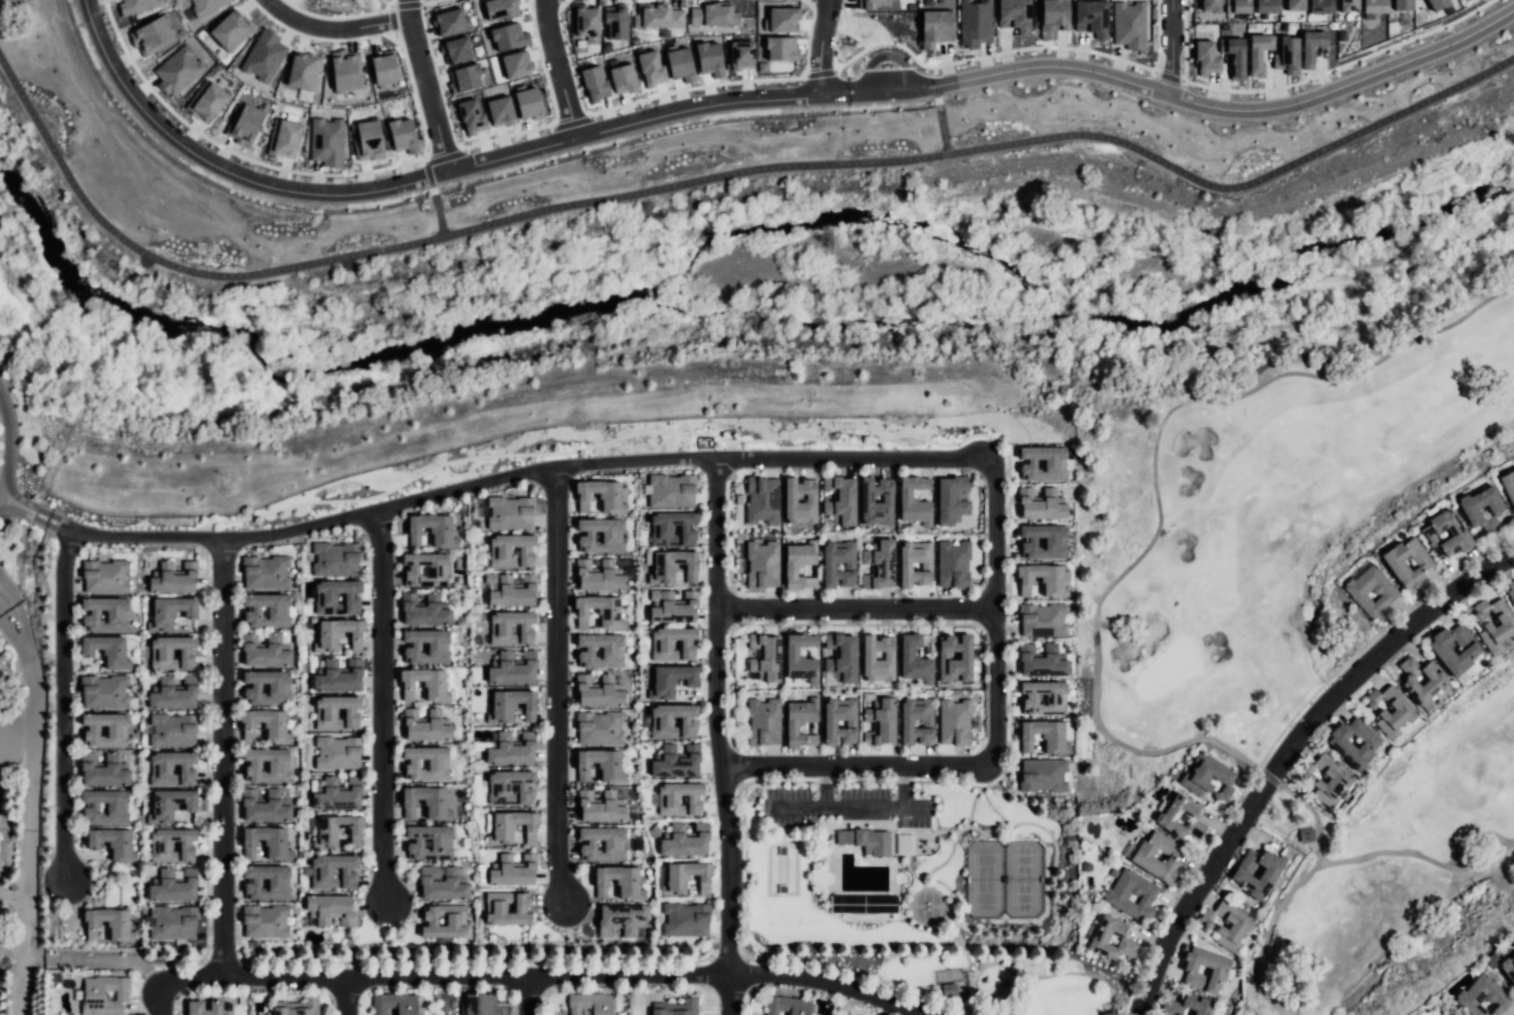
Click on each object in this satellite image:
road: (428, 2)
building: (871, 3)
building: (1436, 4)
building: (135, 5)
building: (206, 5)
road: (403, 5)
building: (1210, 5)
building: (1348, 5)
building: (1401, 5)
building: (1237, 6)
building: (1267, 6)
building: (1320, 6)
building: (1373, 6)
building: (499, 9)
building: (712, 15)
building: (1014, 15)
building: (658, 16)
building: (1052, 17)
building: (1090, 17)
building: (782, 19)
road: (391, 21)
building: (586, 21)
building: (615, 21)
building: (448, 22)
building: (974, 22)
building: (1128, 24)
building: (935, 27)
road: (332, 28)
building: (229, 30)
road: (1157, 35)
building: (151, 36)
building: (508, 37)
road: (1183, 40)
building: (1311, 46)
road: (821, 47)
road: (1171, 47)
building: (780, 48)
road: (1023, 48)
building: (455, 50)
road: (862, 52)
building: (1257, 52)
building: (263, 55)
building: (740, 55)
building: (1234, 55)
building: (1286, 55)
road: (886, 56)
building: (1205, 57)
building: (709, 58)
road: (567, 60)
building: (514, 64)
road: (542, 64)
building: (761, 66)
road: (1339, 66)
building: (383, 68)
road: (557, 68)
building: (650, 68)
building: (177, 70)
building: (344, 70)
road: (934, 70)
building: (300, 71)
road: (818, 72)
road: (1167, 76)
building: (621, 77)
building: (463, 78)
road: (436, 80)
building: (594, 84)
road: (426, 85)
road: (934, 86)
road: (891, 89)
road: (414, 98)
building: (206, 101)
building: (527, 103)
road: (1230, 108)
building: (499, 111)
building: (471, 117)
road: (570, 122)
building: (243, 123)
road: (940, 125)
building: (401, 135)
road: (506, 135)
building: (283, 138)
building: (366, 140)
building: (326, 141)
road: (444, 157)
road: (428, 174)
road: (720, 174)
road: (424, 176)
road: (437, 210)
road: (10, 446)
building: (1040, 463)
park: (1277, 467)
road: (492, 481)
building: (1509, 486)
building: (665, 488)
building: (601, 493)
building: (951, 498)
building: (761, 499)
building: (839, 499)
building: (799, 500)
building: (876, 500)
building: (913, 500)
building: (1039, 504)
building: (1497, 510)
building: (507, 511)
building: (670, 527)
building: (432, 529)
building: (600, 532)
building: (1457, 539)
building: (1041, 541)
building: (528, 555)
building: (332, 557)
building: (917, 561)
building: (1408, 561)
building: (840, 562)
building: (953, 564)
building: (757, 565)
building: (881, 565)
building: (802, 566)
building: (439, 570)
building: (267, 571)
building: (659, 572)
building: (107, 575)
building: (598, 578)
building: (176, 581)
building: (1051, 582)
building: (1387, 591)
building: (1511, 592)
building: (514, 594)
building: (326, 597)
road: (857, 603)
building: (672, 606)
building: (599, 608)
building: (267, 610)
building: (172, 612)
building: (105, 614)
road: (999, 614)
building: (426, 615)
road: (21, 618)
building: (1041, 620)
road: (1095, 621)
building: (1495, 624)
building: (499, 630)
building: (669, 640)
road: (16, 641)
building: (327, 642)
building: (438, 645)
building: (599, 646)
building: (107, 650)
building: (790, 651)
building: (1444, 651)
building: (161, 654)
building: (764, 656)
building: (265, 657)
building: (841, 657)
building: (954, 657)
building: (876, 658)
building: (913, 659)
building: (1040, 661)
building: (514, 673)
building: (341, 680)
building: (1423, 682)
building: (426, 685)
building: (657, 686)
building: (279, 688)
road: (558, 689)
building: (105, 692)
building: (601, 694)
building: (175, 698)
road: (32, 707)
building: (1392, 711)
road: (67, 712)
road: (387, 712)
building: (502, 712)
building: (326, 716)
building: (840, 721)
building: (905, 722)
building: (953, 722)
building: (659, 723)
building: (764, 724)
building: (882, 724)
parking lot: (943, 724)
building: (265, 727)
building: (604, 727)
building: (169, 728)
building: (794, 728)
road: (16, 729)
building: (118, 729)
building: (425, 729)
building: (1043, 736)
road: (720, 739)
parking lot: (1, 742)
building: (1356, 744)
building: (511, 749)
building: (335, 750)
road: (1286, 750)
road: (16, 753)
road: (227, 756)
building: (675, 759)
building: (437, 762)
building: (603, 764)
building: (268, 766)
road: (860, 769)
building: (161, 772)
building: (1042, 774)
building: (106, 775)
building: (1326, 779)
building: (1192, 783)
building: (497, 792)
building: (676, 795)
building: (338, 800)
building: (426, 800)
building: (605, 804)
building: (172, 805)
road: (862, 806)
building: (118, 807)
parking lot: (846, 808)
building: (266, 812)
building: (1169, 820)
building: (511, 825)
building: (327, 837)
building: (677, 838)
building: (269, 842)
building: (441, 842)
building: (620, 842)
building: (113, 843)
building: (865, 843)
building: (161, 846)
building: (1145, 859)
park: (1389, 865)
building: (516, 871)
building: (1270, 875)
building: (322, 877)
building: (619, 880)
park: (1004, 880)
road: (25, 881)
building: (279, 884)
building: (669, 884)
building: (441, 885)
building: (174, 891)
building: (1117, 894)
road: (12, 897)
building: (494, 907)
building: (332, 909)
building: (621, 919)
building: (170, 921)
building: (266, 921)
building: (427, 921)
building: (685, 921)
building: (109, 925)
building: (1227, 927)
building: (1101, 938)
road: (1264, 939)
road: (94, 960)
building: (1509, 966)
building: (1220, 971)
road: (550, 976)
building: (105, 995)
road: (350, 996)
road: (528, 996)
building: (1483, 997)
road: (159, 999)
building: (591, 1003)
building: (689, 1003)
building: (395, 1004)
building: (788, 1004)
building: (476, 1005)
building: (1198, 1007)
building: (204, 1008)
building: (299, 1008)
building: (862, 1014)

